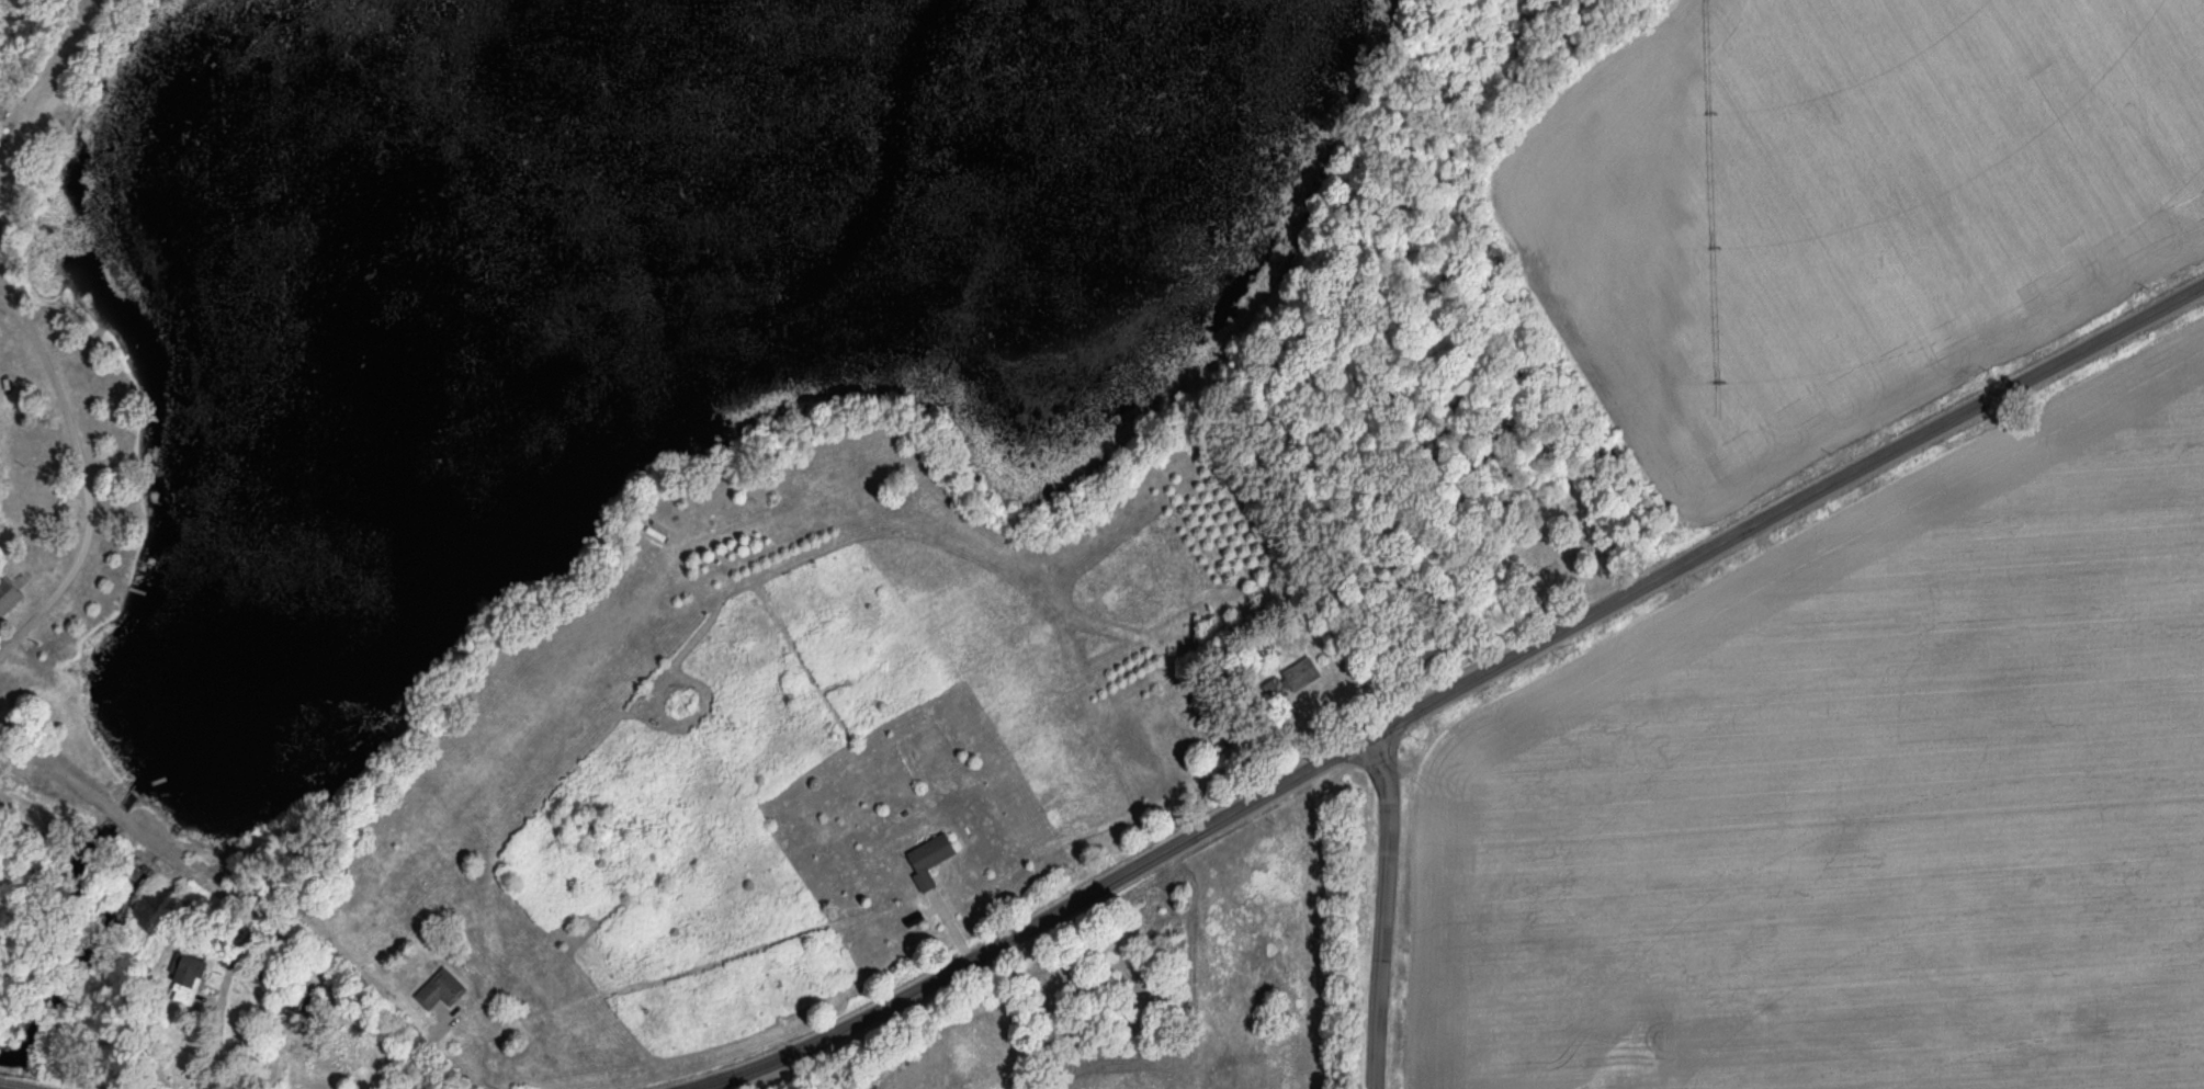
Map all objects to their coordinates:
road: (53, 103)
building: (0, 112)
road: (83, 472)
park: (1559, 547)
building: (12, 594)
building: (1287, 682)
road: (1471, 682)
building: (922, 863)
road: (1387, 909)
building: (200, 965)
building: (436, 991)
road: (336, 1011)

